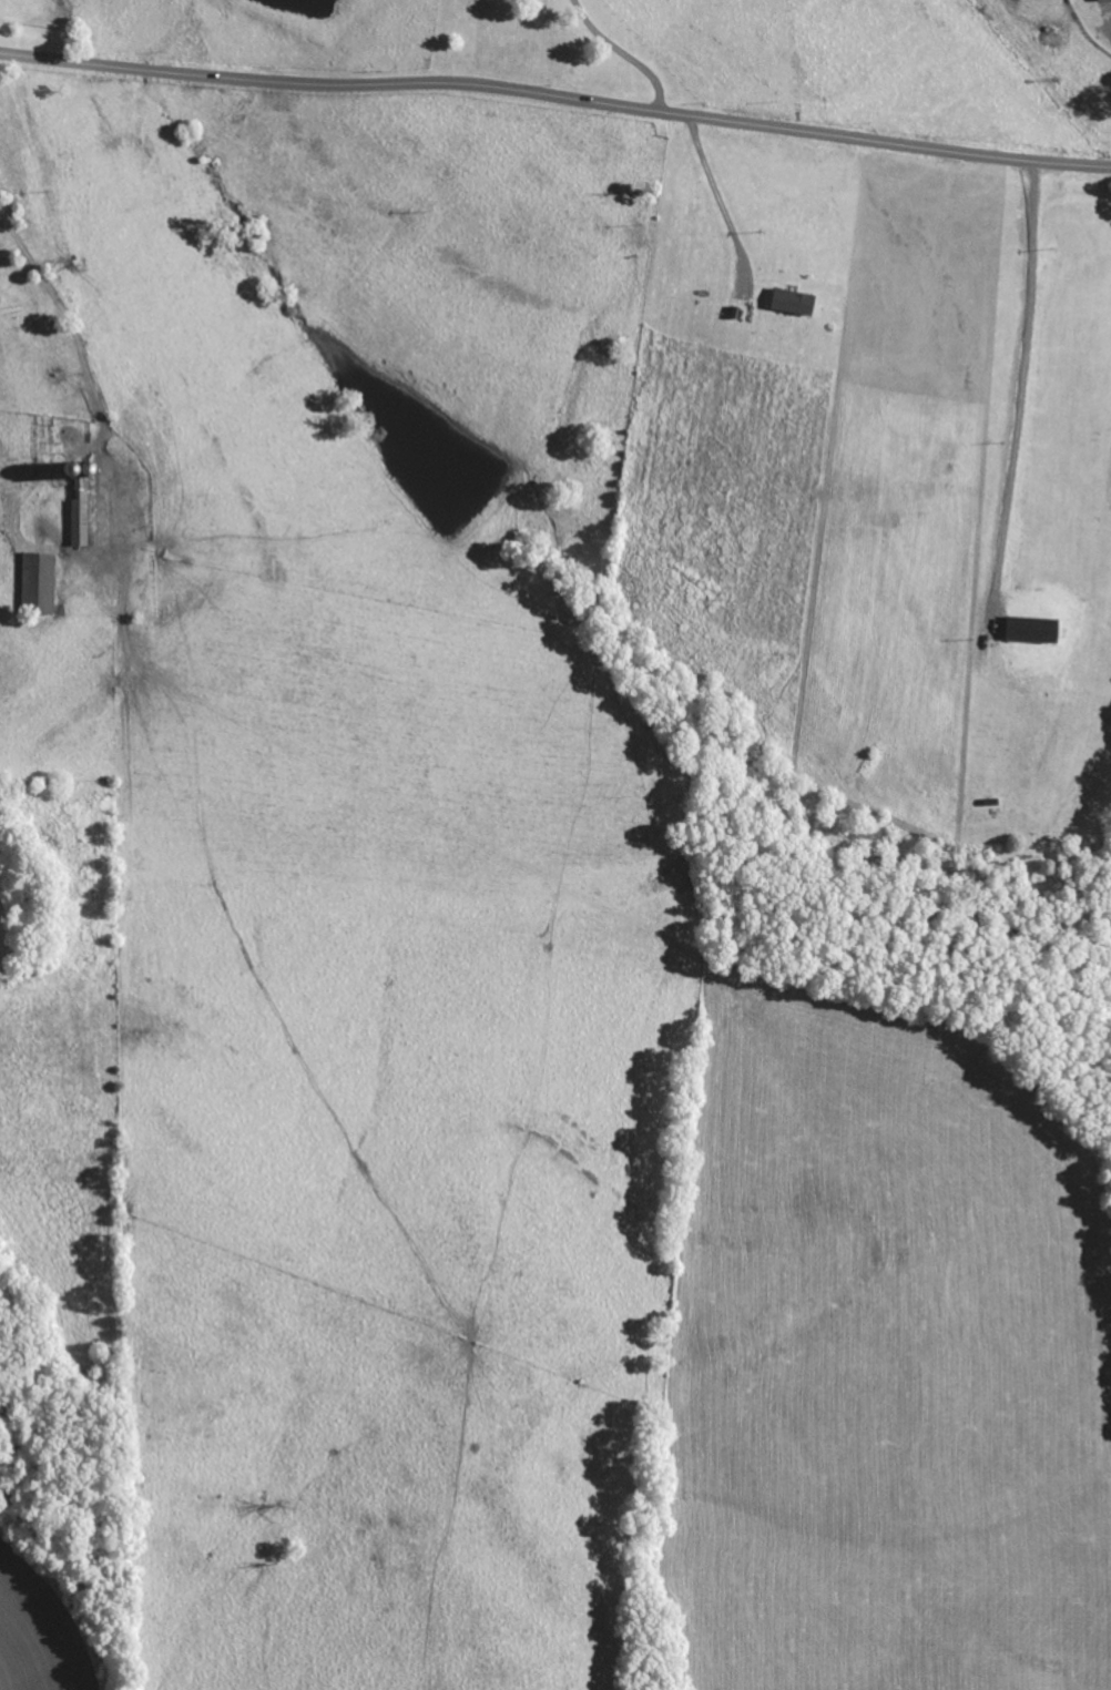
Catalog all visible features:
building: (1104, 0)
road: (557, 93)
building: (794, 302)
road: (1021, 386)
building: (80, 506)
building: (39, 583)
building: (1033, 630)

